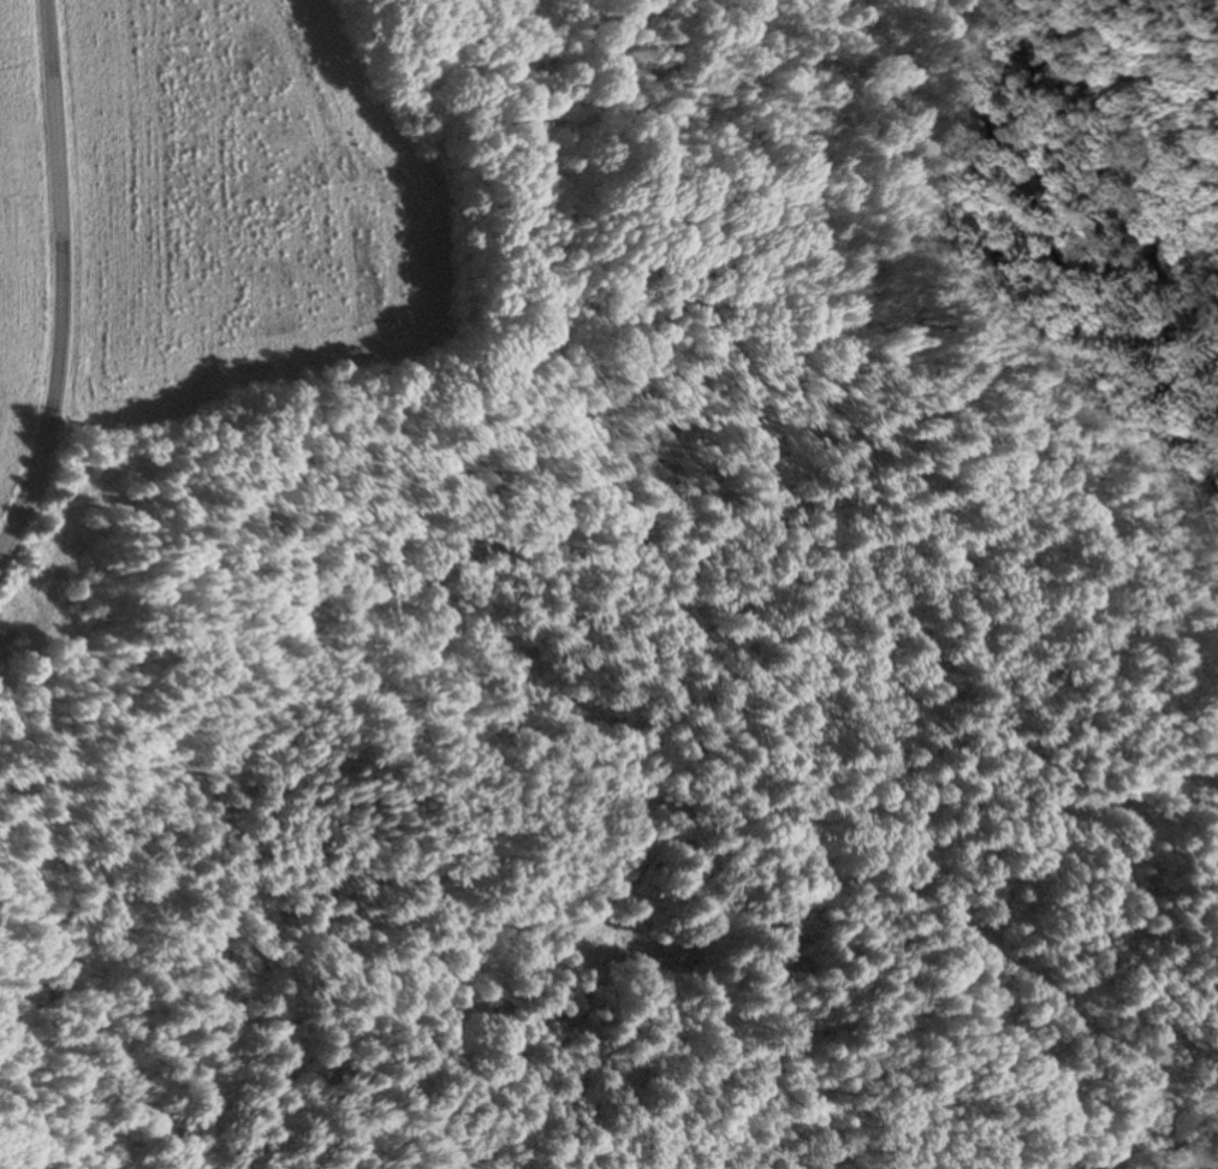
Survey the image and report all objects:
road: (55, 280)

